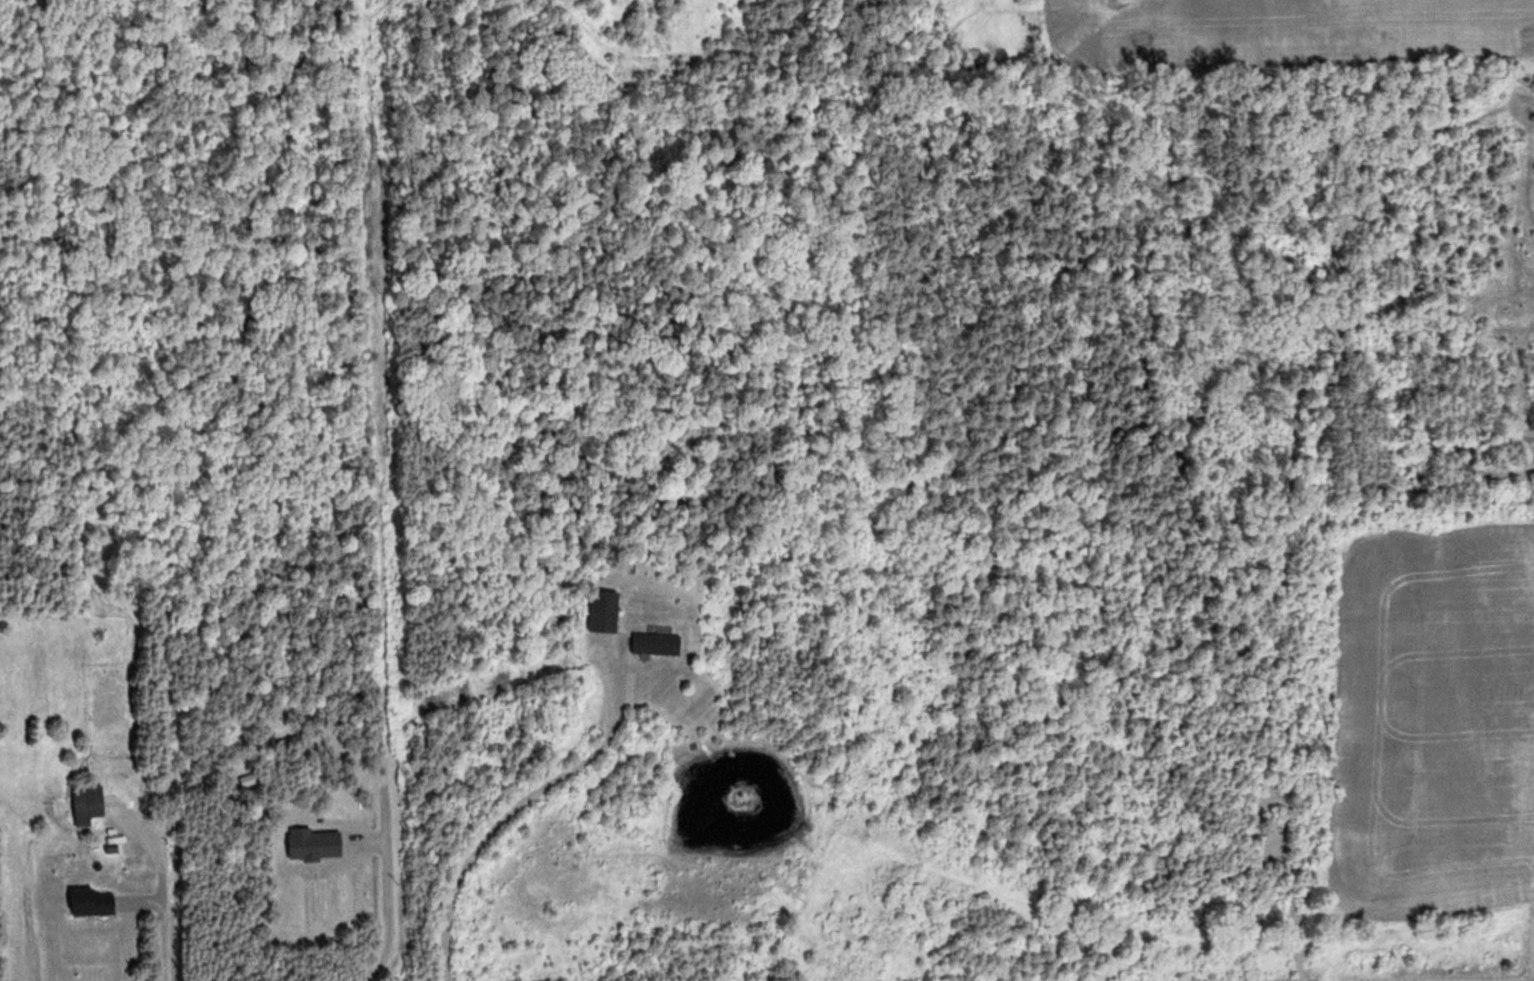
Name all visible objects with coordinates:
building: (607, 612)
building: (659, 644)
building: (91, 805)

